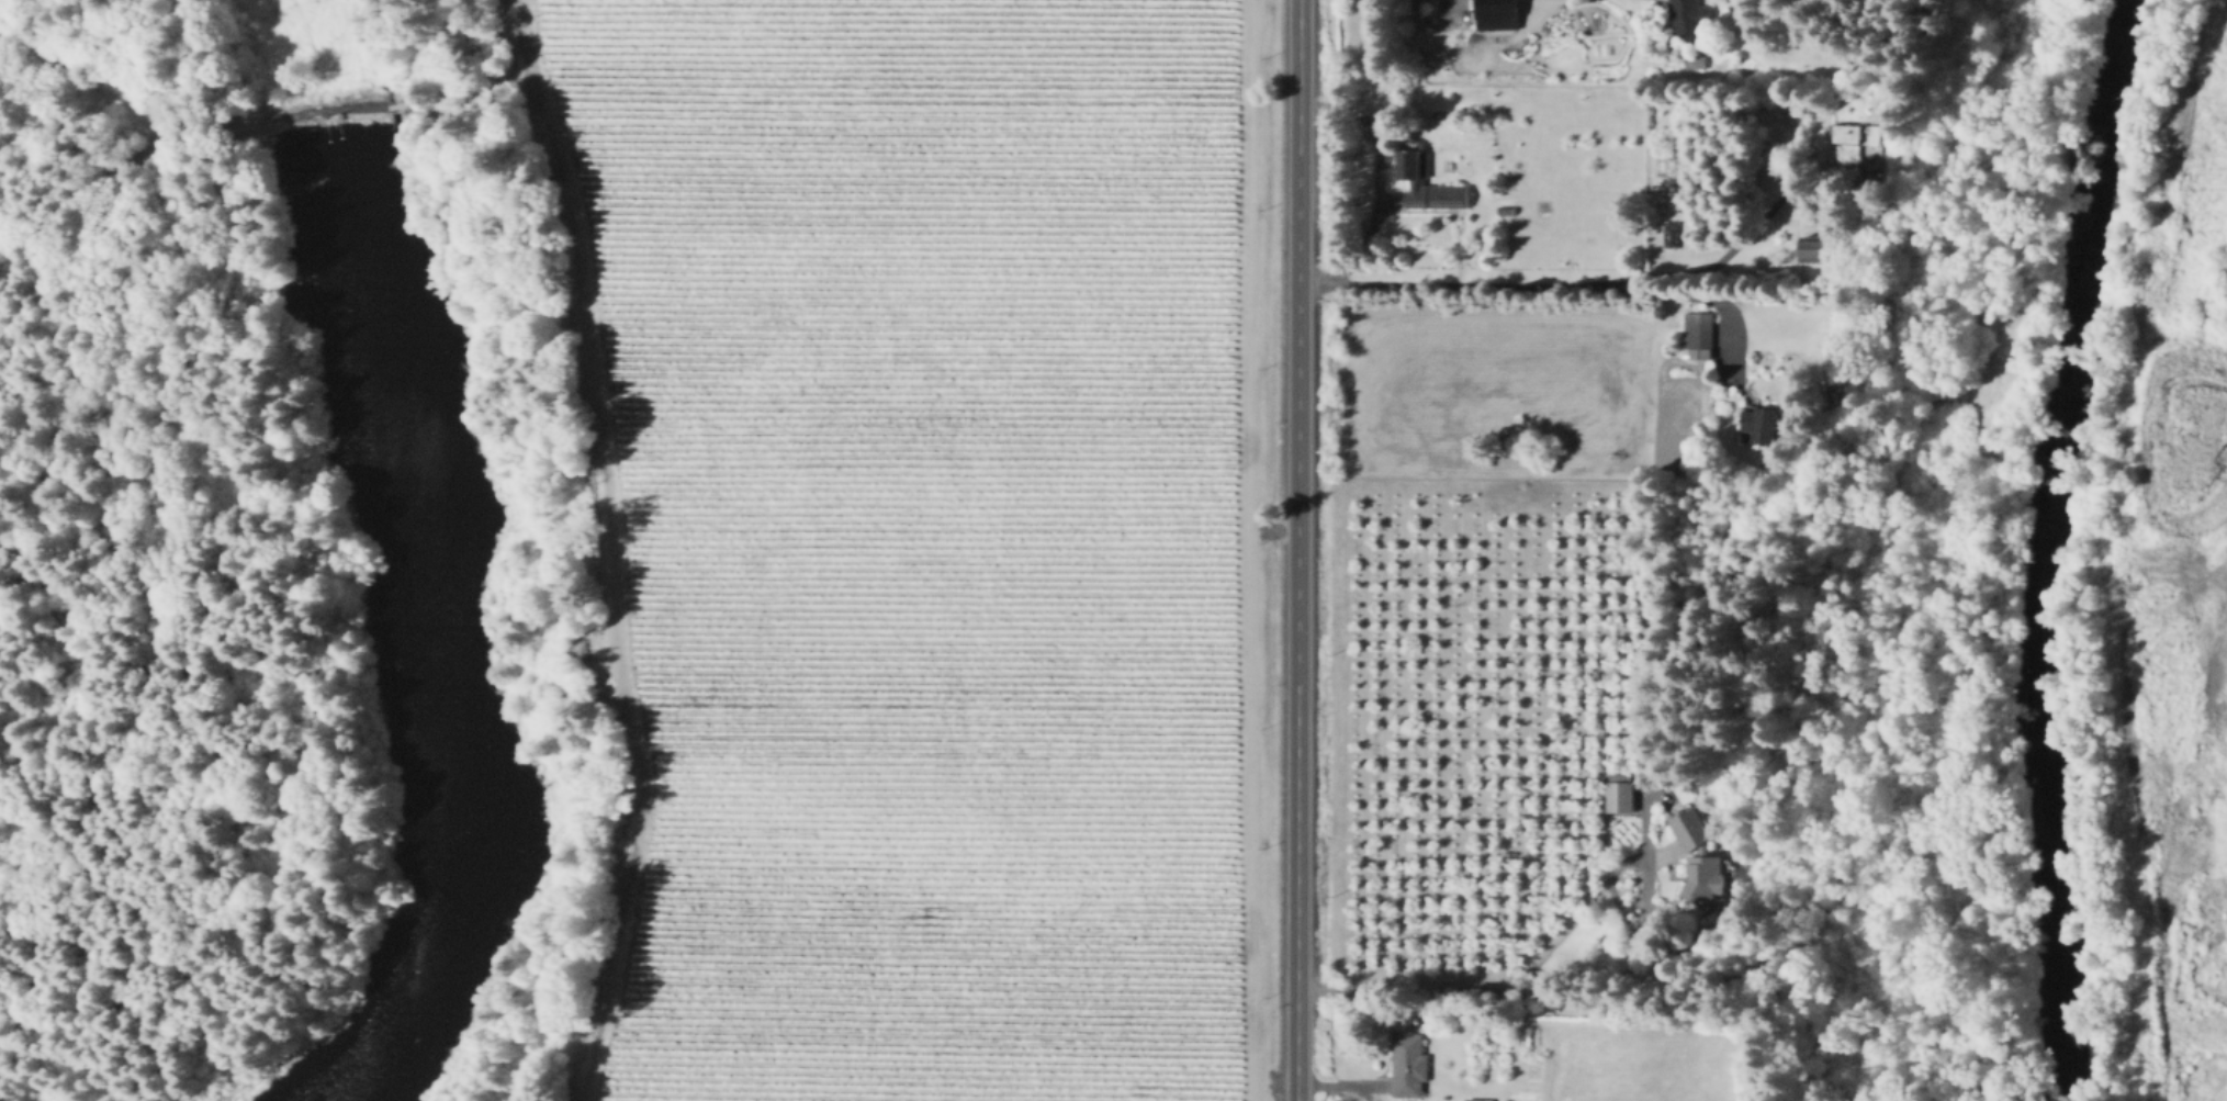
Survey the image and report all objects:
building: (1687, 16)
road: (439, 43)
building: (1698, 64)
dam: (327, 115)
building: (1851, 139)
building: (1418, 181)
road: (1376, 184)
building: (1667, 233)
building: (1819, 248)
road: (1519, 285)
building: (1838, 322)
building: (1698, 334)
building: (1763, 424)
crop: (909, 533)
river: (2038, 547)
road: (1297, 550)
building: (1619, 796)
building: (1699, 860)
road: (1549, 973)
building: (1409, 1066)
building: (1475, 1099)

